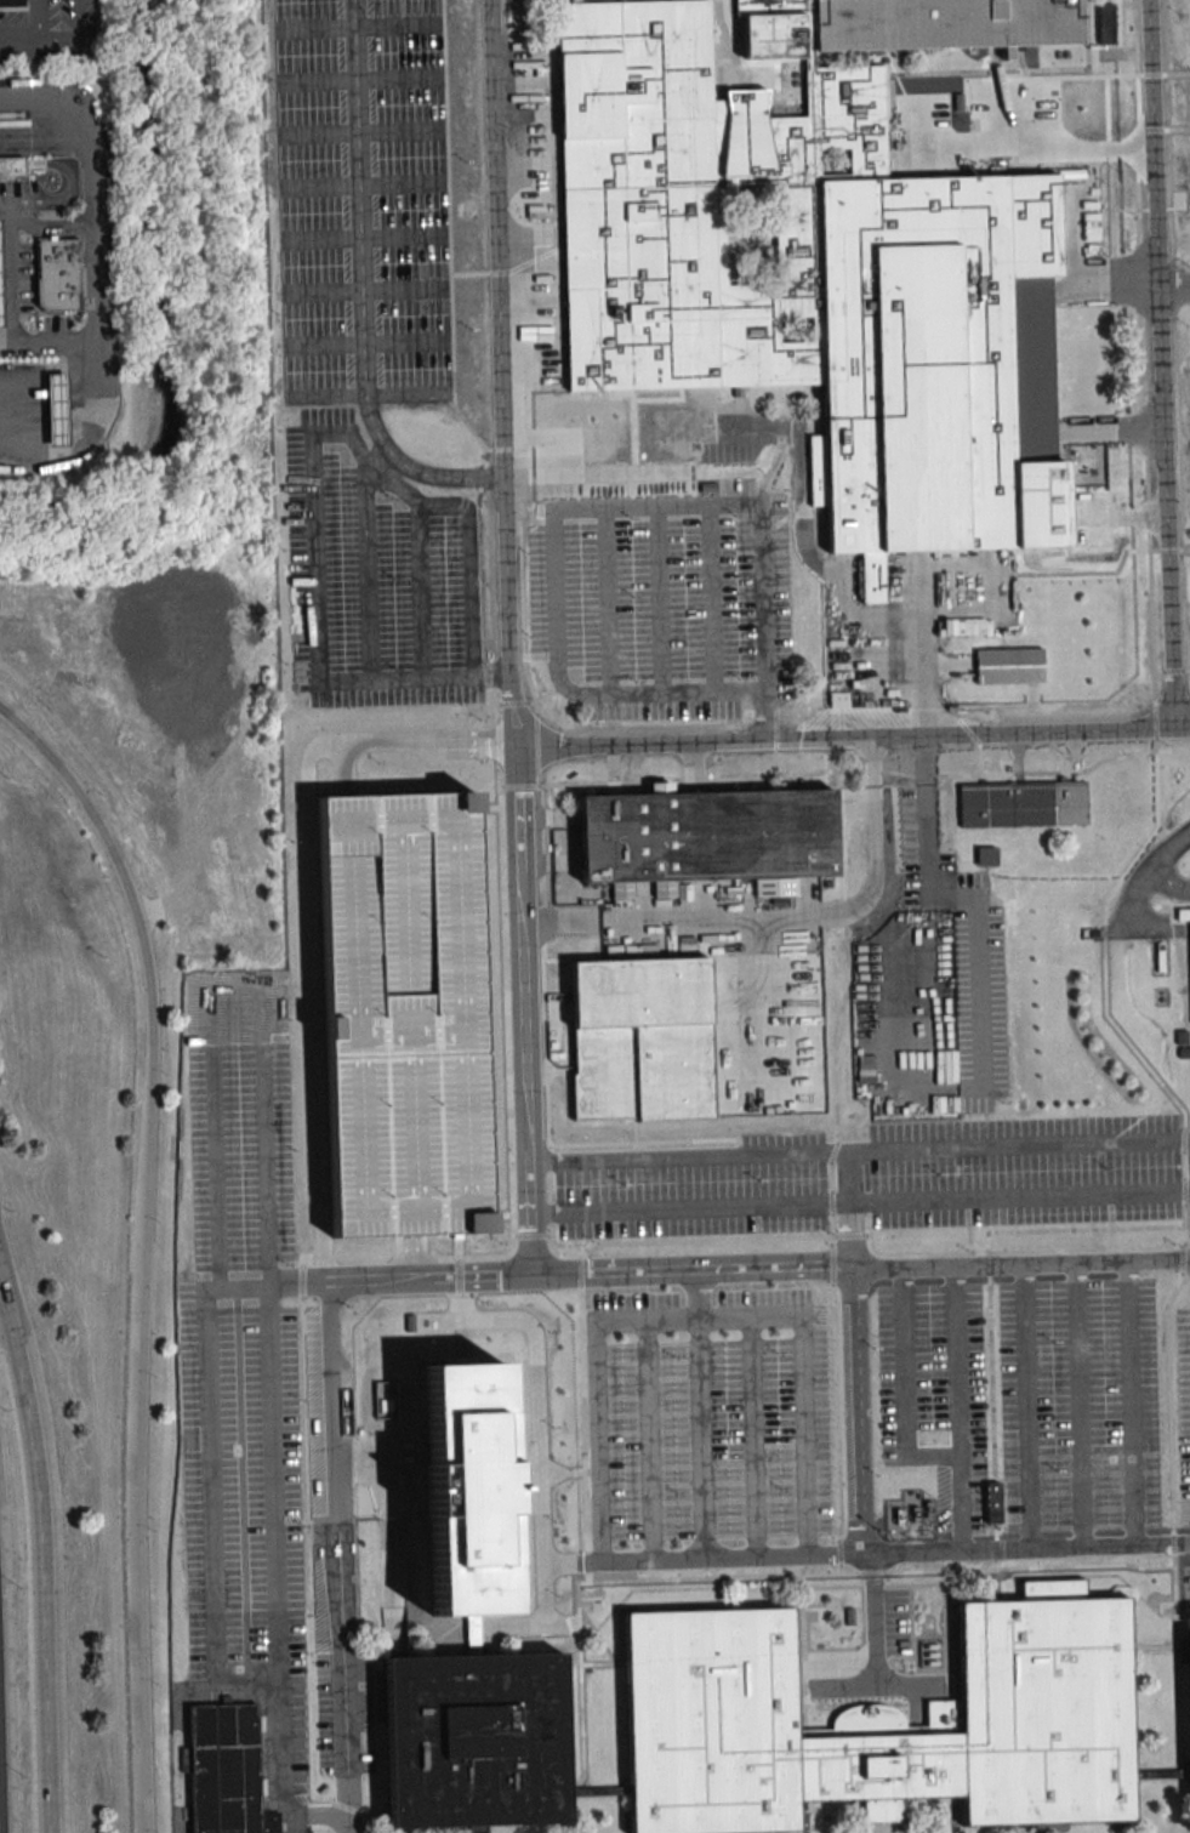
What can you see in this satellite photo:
building: (12, 5)
building: (1105, 24)
road: (30, 30)
building: (12, 164)
parking lot: (361, 201)
road: (50, 224)
building: (813, 252)
road: (11, 271)
building: (57, 273)
road: (98, 275)
building: (1, 278)
road: (1174, 285)
road: (361, 289)
road: (51, 343)
road: (1161, 364)
road: (501, 371)
building: (57, 408)
road: (558, 510)
road: (469, 541)
road: (368, 562)
parking lot: (376, 576)
road: (421, 591)
road: (712, 598)
road: (660, 599)
road: (608, 602)
parking lot: (662, 602)
road: (317, 613)
building: (1009, 665)
building: (838, 699)
road: (768, 716)
road: (852, 738)
road: (428, 744)
road: (345, 769)
road: (307, 774)
building: (1024, 804)
building: (708, 832)
building: (986, 855)
road: (1148, 872)
road: (1168, 883)
road: (778, 915)
building: (1183, 915)
road: (930, 1007)
road: (524, 1008)
road: (980, 1008)
building: (402, 1015)
parking garage: (402, 1015)
building: (644, 1038)
road: (859, 1150)
parking lot: (1024, 1171)
parking lot: (696, 1189)
road: (859, 1202)
road: (850, 1209)
road: (266, 1222)
road: (323, 1242)
road: (138, 1252)
road: (410, 1257)
road: (1020, 1265)
road: (693, 1270)
road: (405, 1279)
road: (241, 1288)
road: (460, 1299)
road: (698, 1320)
parking lot: (240, 1340)
road: (905, 1389)
parking lot: (936, 1395)
building: (385, 1400)
road: (1132, 1404)
parking lot: (1080, 1406)
road: (1080, 1406)
parking lot: (1184, 1406)
road: (1027, 1407)
road: (861, 1410)
road: (958, 1410)
road: (701, 1413)
parking lot: (707, 1416)
road: (753, 1438)
road: (649, 1441)
building: (467, 1490)
building: (993, 1503)
road: (210, 1516)
building: (910, 1519)
road: (866, 1553)
road: (42, 1555)
road: (340, 1556)
road: (543, 1601)
road: (875, 1619)
building: (1046, 1673)
road: (876, 1686)
building: (476, 1741)
building: (228, 1771)
road: (309, 1816)

